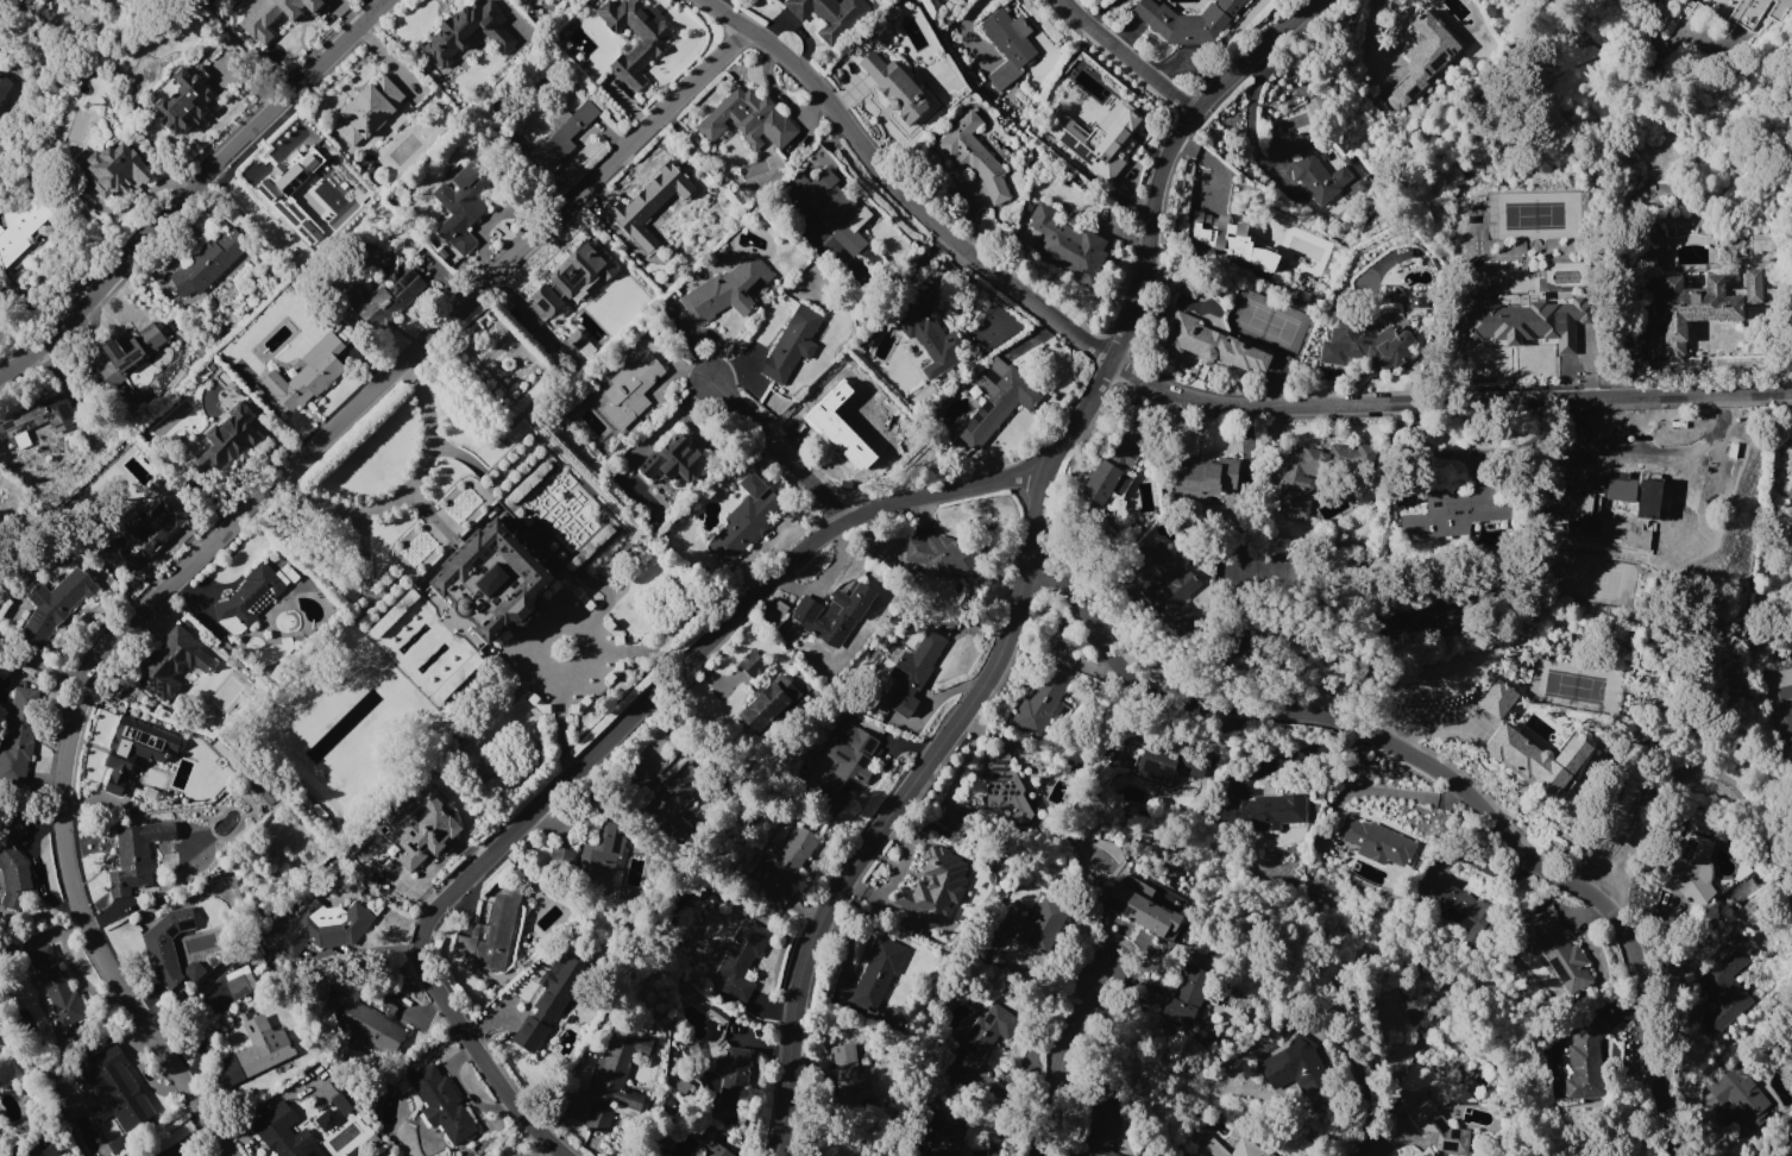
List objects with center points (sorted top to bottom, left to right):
building: (46, 0)
building: (829, 14)
building: (1744, 14)
building: (276, 15)
building: (1187, 20)
building: (467, 31)
building: (1007, 45)
building: (647, 49)
road: (1125, 59)
building: (1422, 59)
building: (4, 83)
building: (895, 86)
building: (187, 100)
building: (367, 108)
building: (748, 119)
building: (565, 136)
building: (1099, 136)
building: (973, 156)
building: (1306, 164)
building: (114, 170)
road: (193, 187)
building: (301, 193)
building: (461, 200)
building: (649, 207)
building: (834, 215)
building: (21, 228)
building: (1227, 238)
building: (1065, 244)
building: (1646, 257)
building: (209, 260)
building: (573, 275)
building: (727, 289)
building: (381, 296)
building: (1415, 301)
building: (1697, 306)
building: (1520, 321)
building: (144, 341)
building: (564, 341)
building: (932, 341)
building: (791, 344)
building: (1212, 345)
building: (1364, 345)
building: (308, 372)
building: (855, 373)
building: (631, 389)
road: (1176, 392)
building: (998, 401)
road: (805, 408)
building: (813, 419)
building: (38, 421)
building: (854, 427)
building: (228, 438)
road: (778, 451)
building: (673, 461)
building: (1111, 471)
building: (1203, 475)
building: (1297, 477)
building: (1691, 483)
road: (407, 491)
building: (1633, 495)
building: (1457, 509)
building: (747, 517)
building: (149, 526)
road: (221, 532)
building: (944, 555)
road: (1027, 567)
building: (1171, 576)
building: (492, 579)
building: (250, 597)
building: (54, 605)
building: (834, 612)
road: (560, 648)
building: (169, 661)
building: (752, 662)
building: (913, 672)
building: (1043, 699)
building: (768, 703)
building: (19, 735)
road: (604, 740)
building: (1529, 746)
building: (131, 753)
building: (1164, 762)
building: (848, 764)
road: (1440, 771)
road: (1693, 771)
building: (636, 777)
building: (678, 789)
building: (1005, 789)
building: (1264, 811)
building: (422, 833)
building: (1376, 841)
building: (601, 847)
building: (137, 854)
building: (559, 856)
building: (12, 863)
building: (787, 863)
building: (1691, 869)
building: (935, 885)
building: (1132, 905)
building: (1671, 905)
building: (1461, 911)
building: (1035, 924)
building: (326, 929)
building: (492, 932)
building: (165, 944)
building: (1561, 954)
building: (741, 959)
building: (882, 960)
building: (239, 982)
building: (57, 991)
building: (1723, 992)
building: (1187, 994)
building: (551, 998)
building: (370, 1026)
building: (989, 1029)
building: (262, 1047)
building: (1587, 1057)
road: (1060, 1060)
building: (1295, 1064)
building: (955, 1072)
building: (612, 1074)
building: (731, 1074)
building: (860, 1082)
road: (1364, 1083)
building: (113, 1086)
building: (1742, 1094)
building: (331, 1097)
building: (633, 1099)
building: (441, 1102)
building: (363, 1122)
building: (1431, 1122)
building: (1101, 1125)
building: (285, 1131)
building: (948, 1138)
building: (1246, 1144)
building: (36, 1149)
building: (717, 1150)
building: (509, 1155)
building: (1572, 1155)

